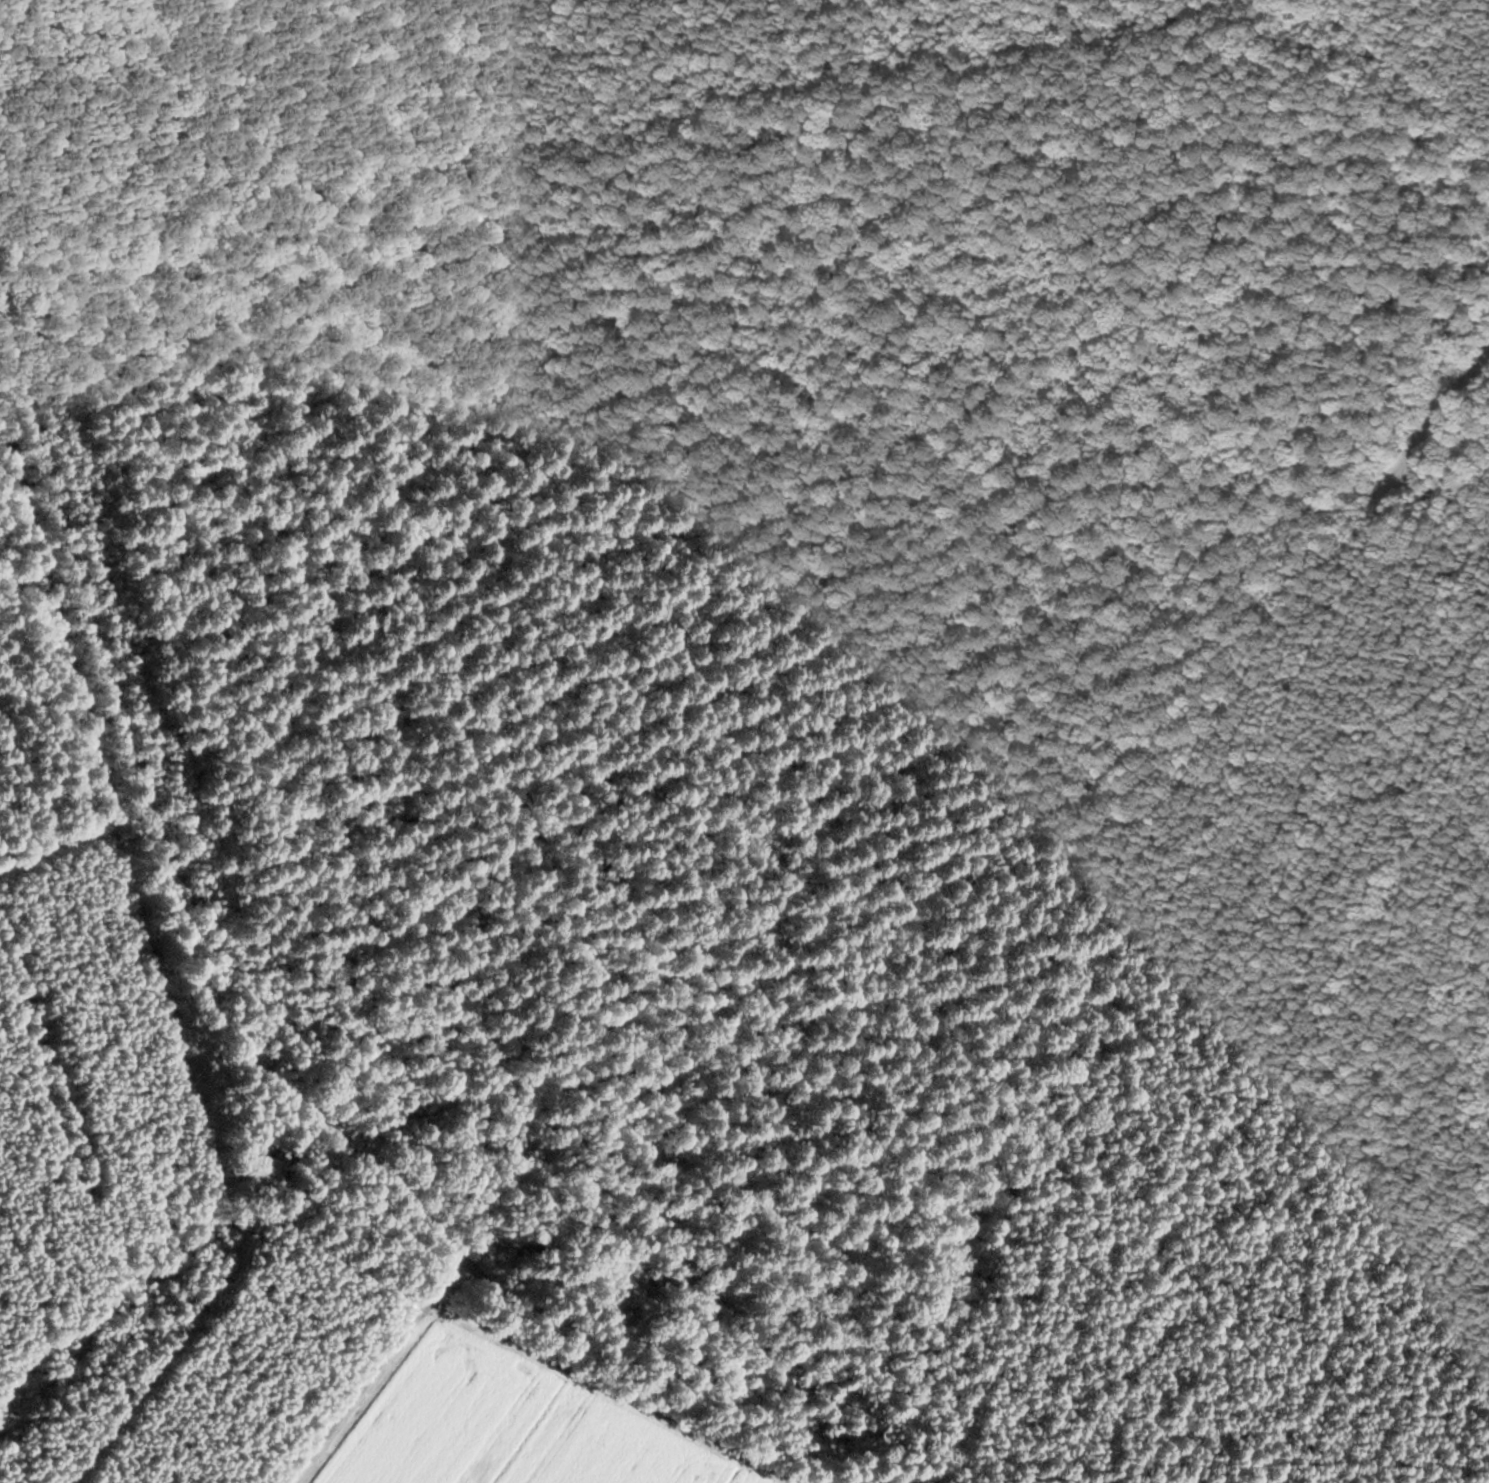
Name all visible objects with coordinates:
road: (339, 1393)

